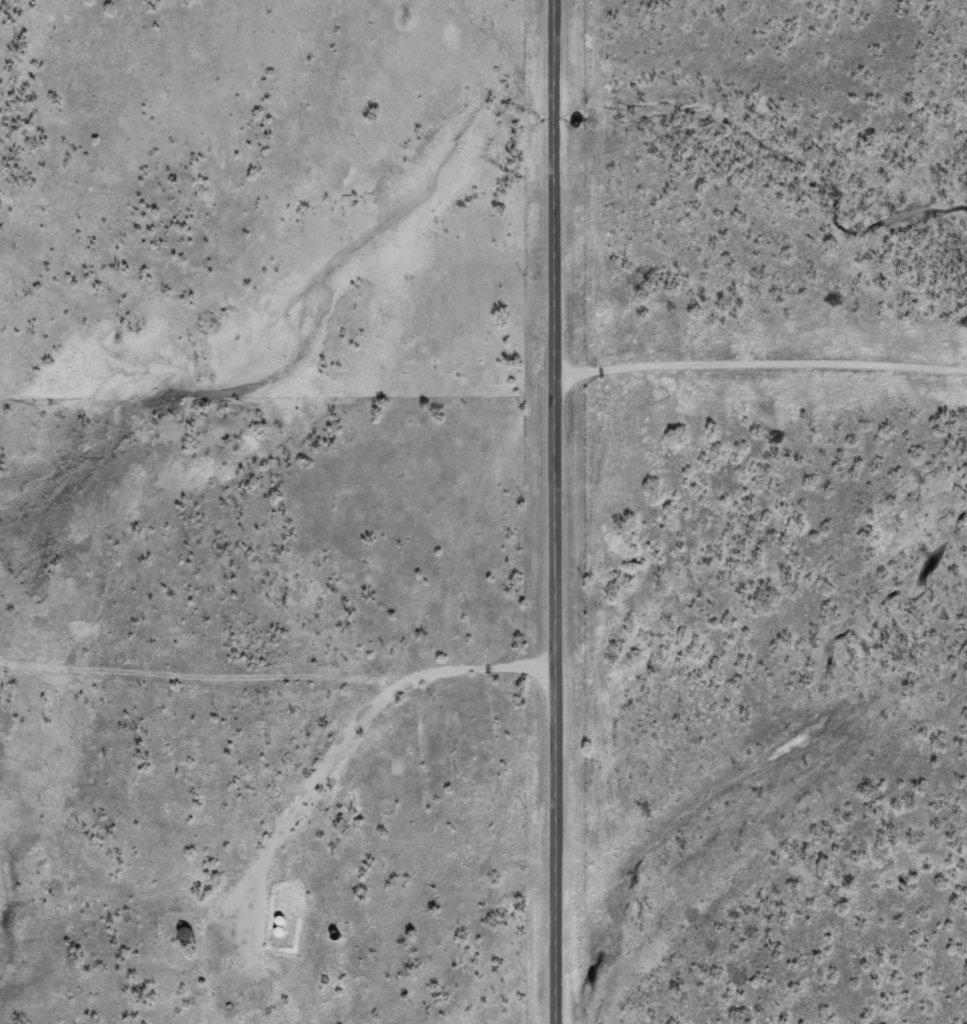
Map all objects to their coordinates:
road: (762, 389)
road: (557, 512)
road: (278, 676)
building: (180, 934)
building: (269, 1018)

